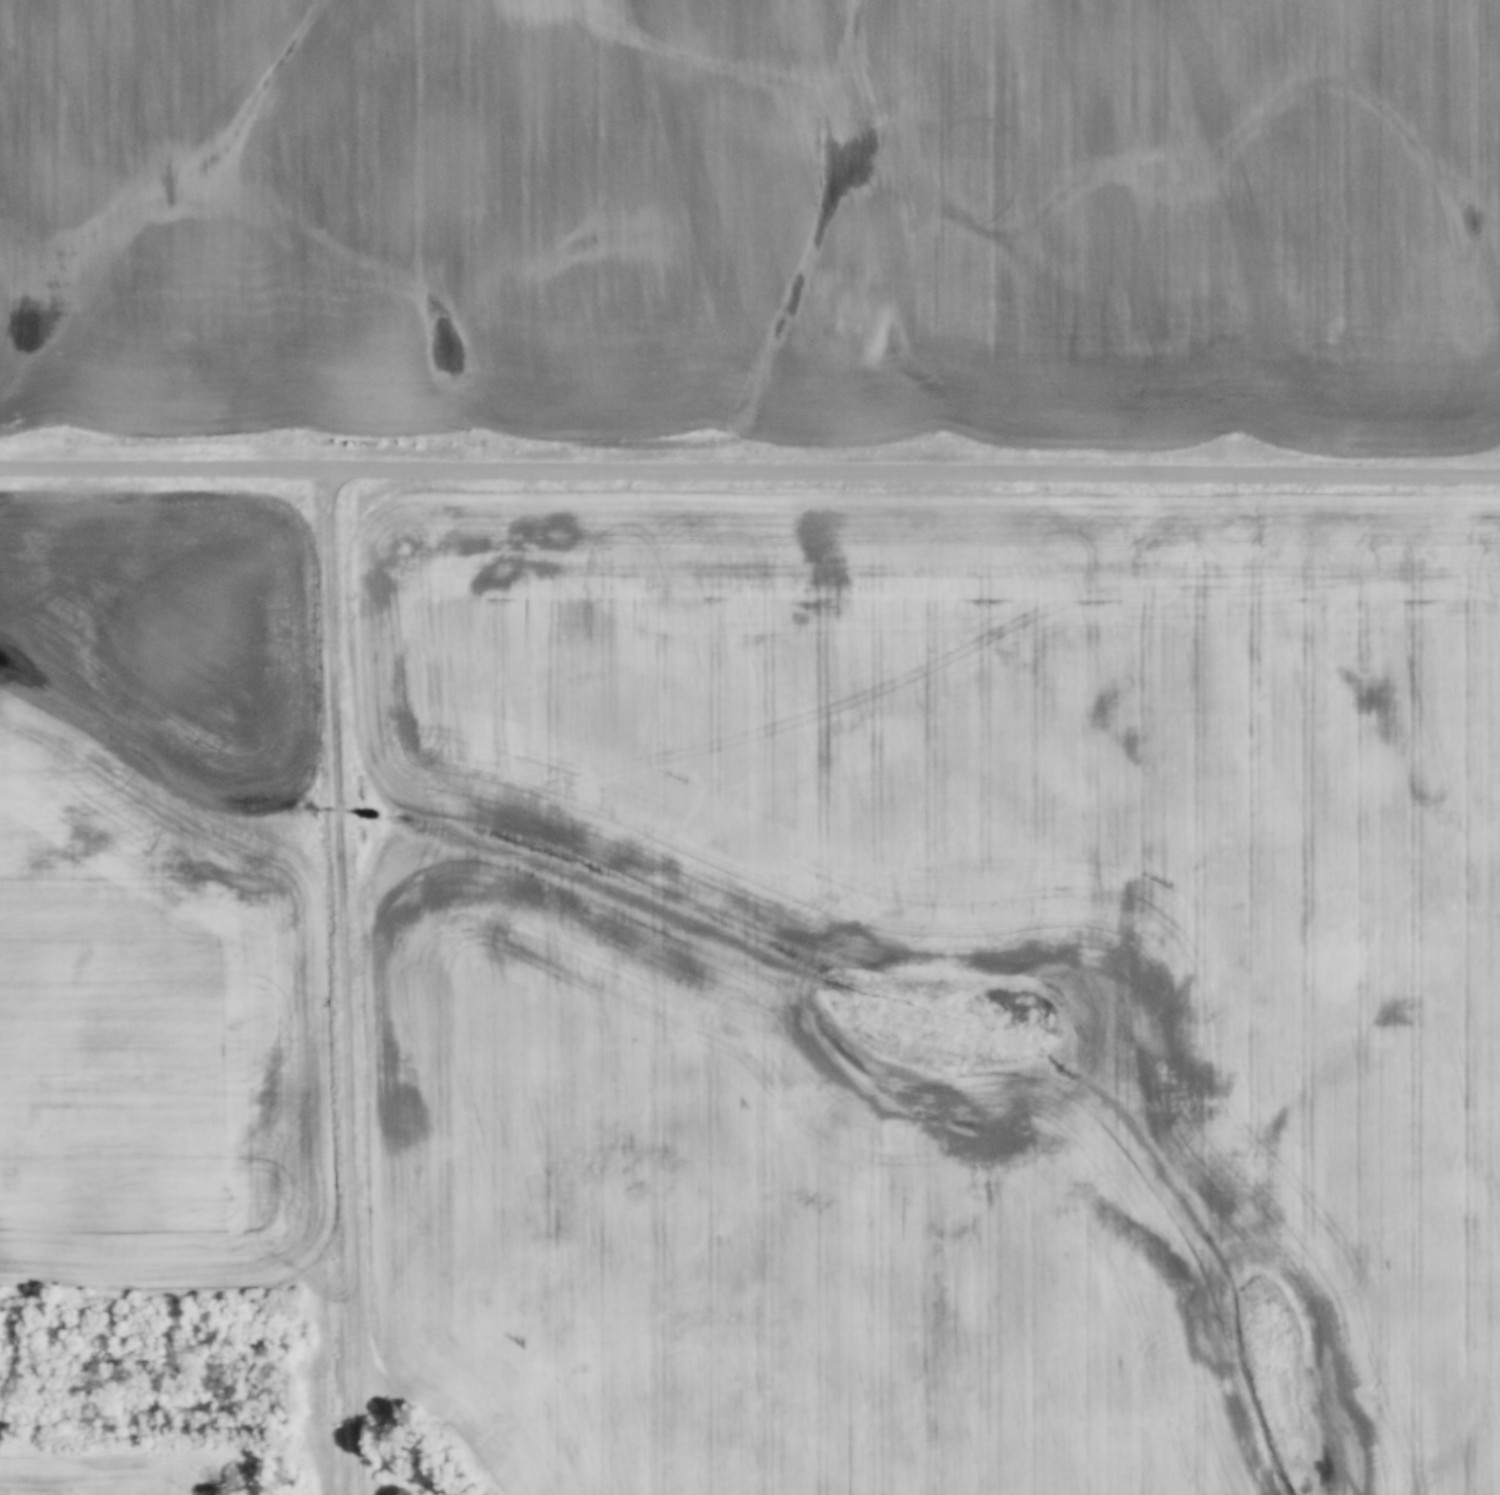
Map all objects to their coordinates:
road: (750, 471)
road: (346, 980)

